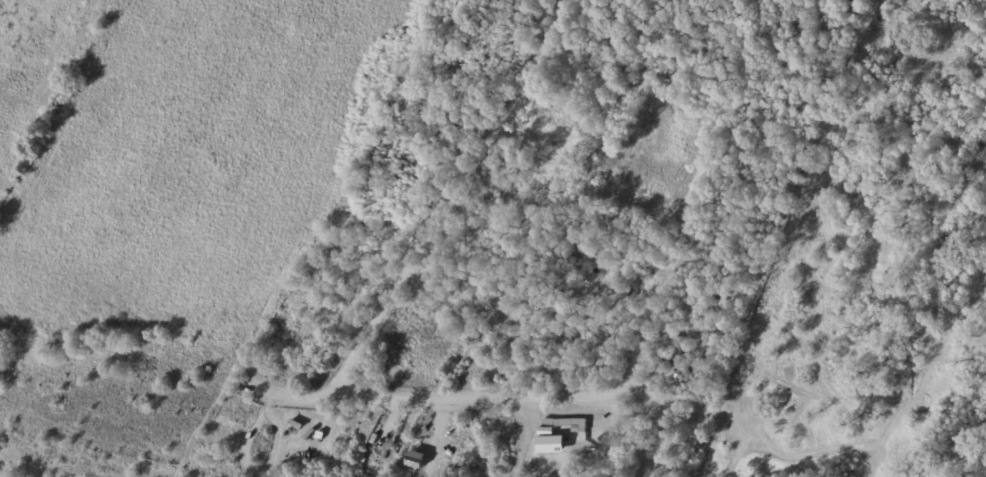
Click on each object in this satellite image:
building: (722, 56)
park: (101, 164)
road: (694, 199)
road: (450, 201)
building: (615, 290)
road: (477, 401)
building: (416, 458)

